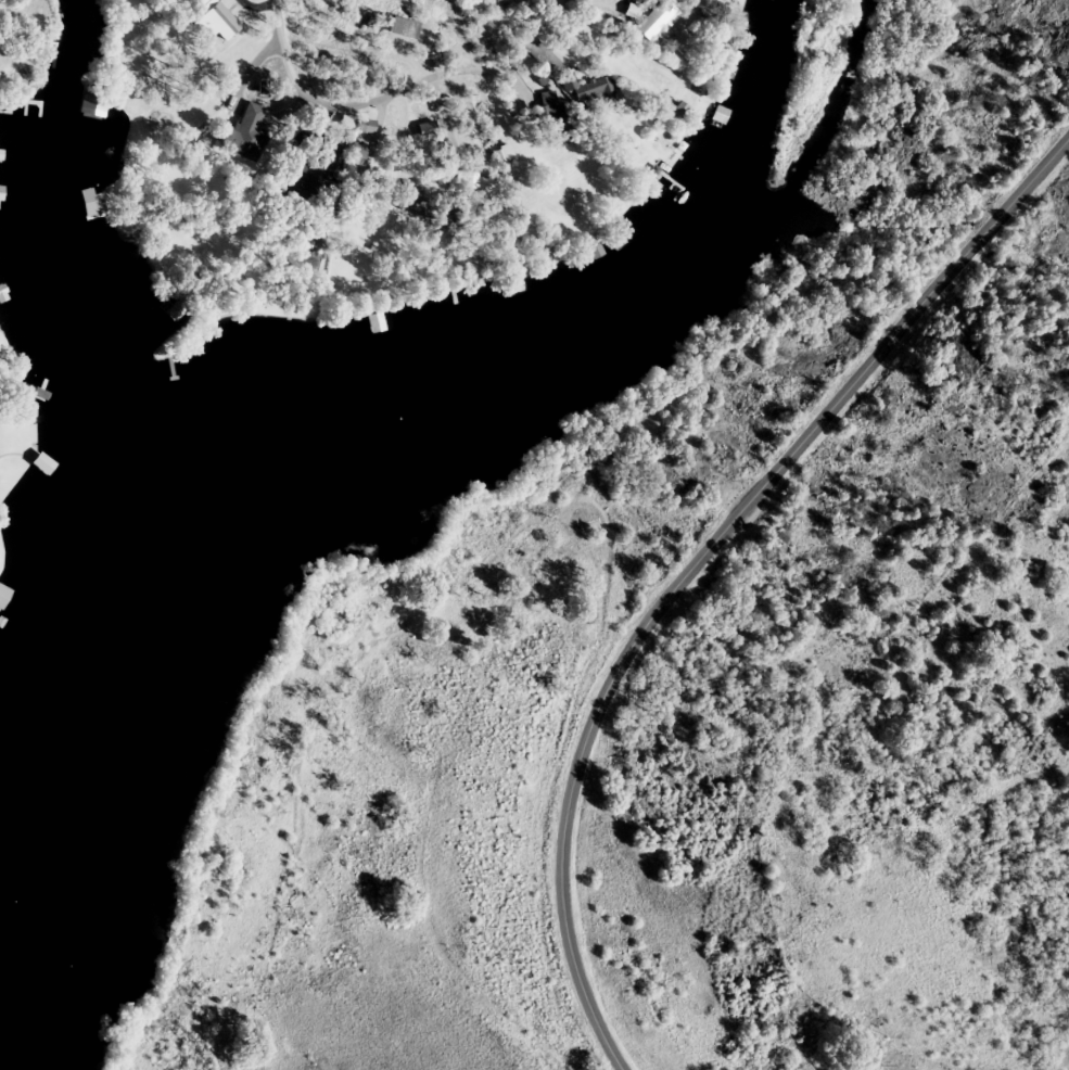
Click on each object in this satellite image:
building: (203, 2)
building: (716, 8)
building: (658, 20)
building: (222, 21)
building: (407, 27)
road: (391, 91)
building: (588, 94)
building: (94, 99)
building: (553, 101)
building: (722, 115)
building: (368, 125)
building: (245, 135)
building: (361, 151)
building: (504, 153)
building: (322, 170)
building: (1, 193)
building: (419, 202)
building: (377, 323)
building: (42, 464)
road: (692, 553)
building: (3, 595)

